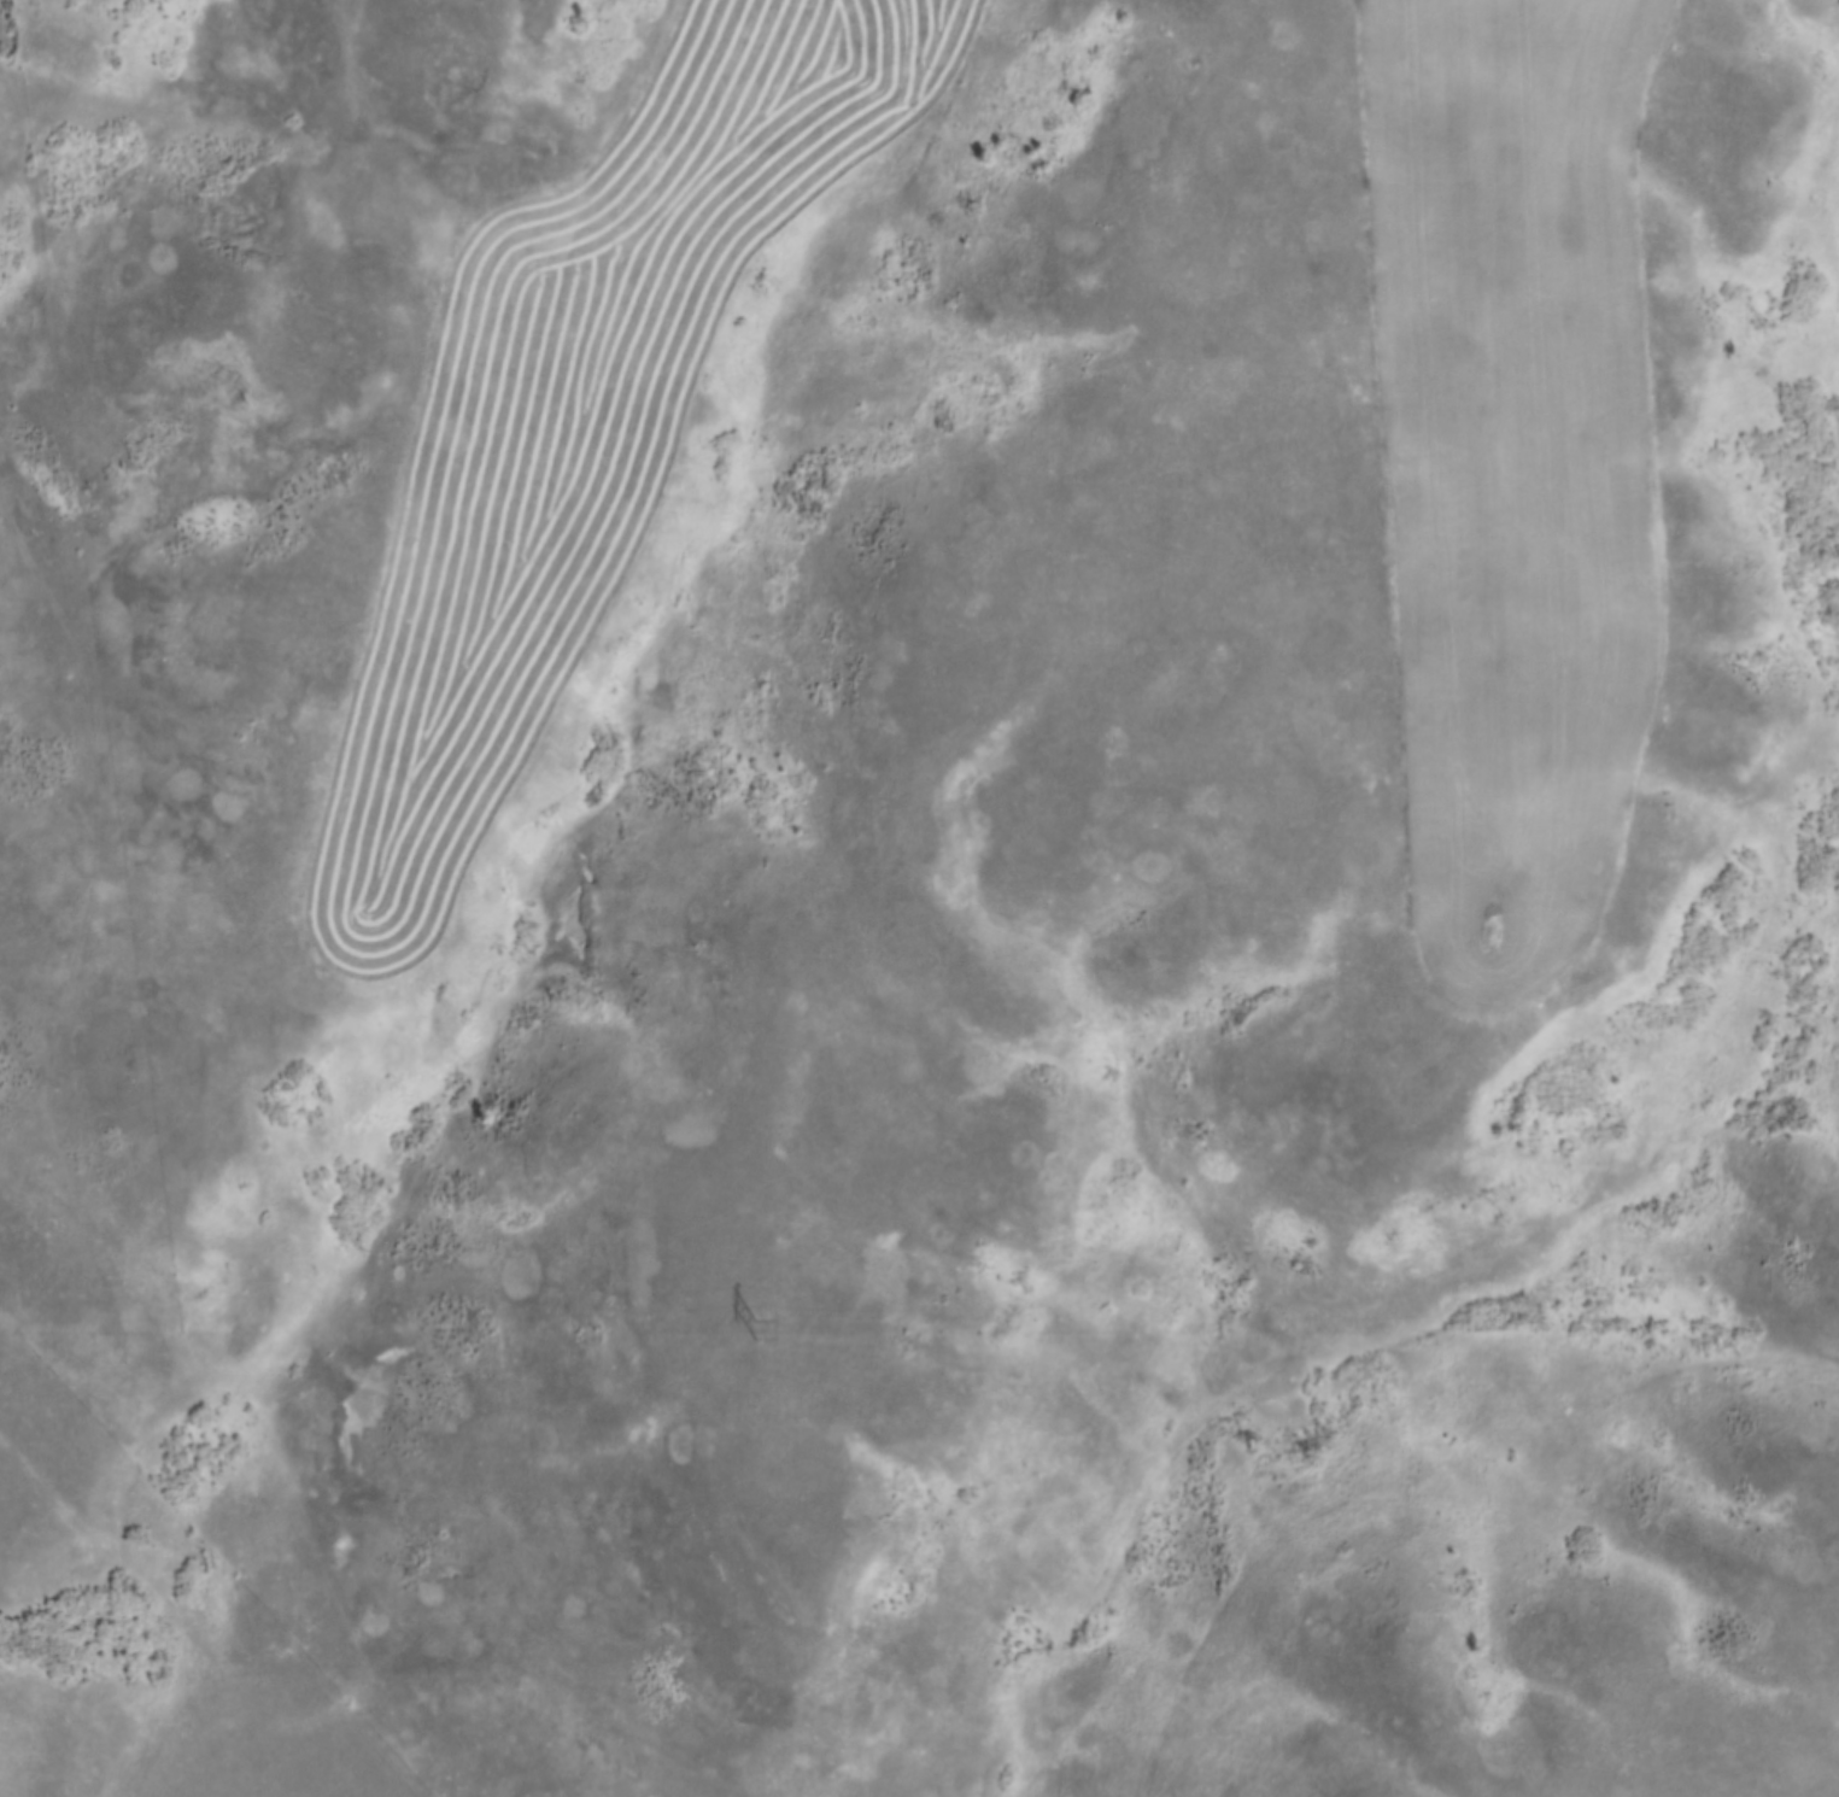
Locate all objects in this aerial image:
power tower: (749, 1327)

